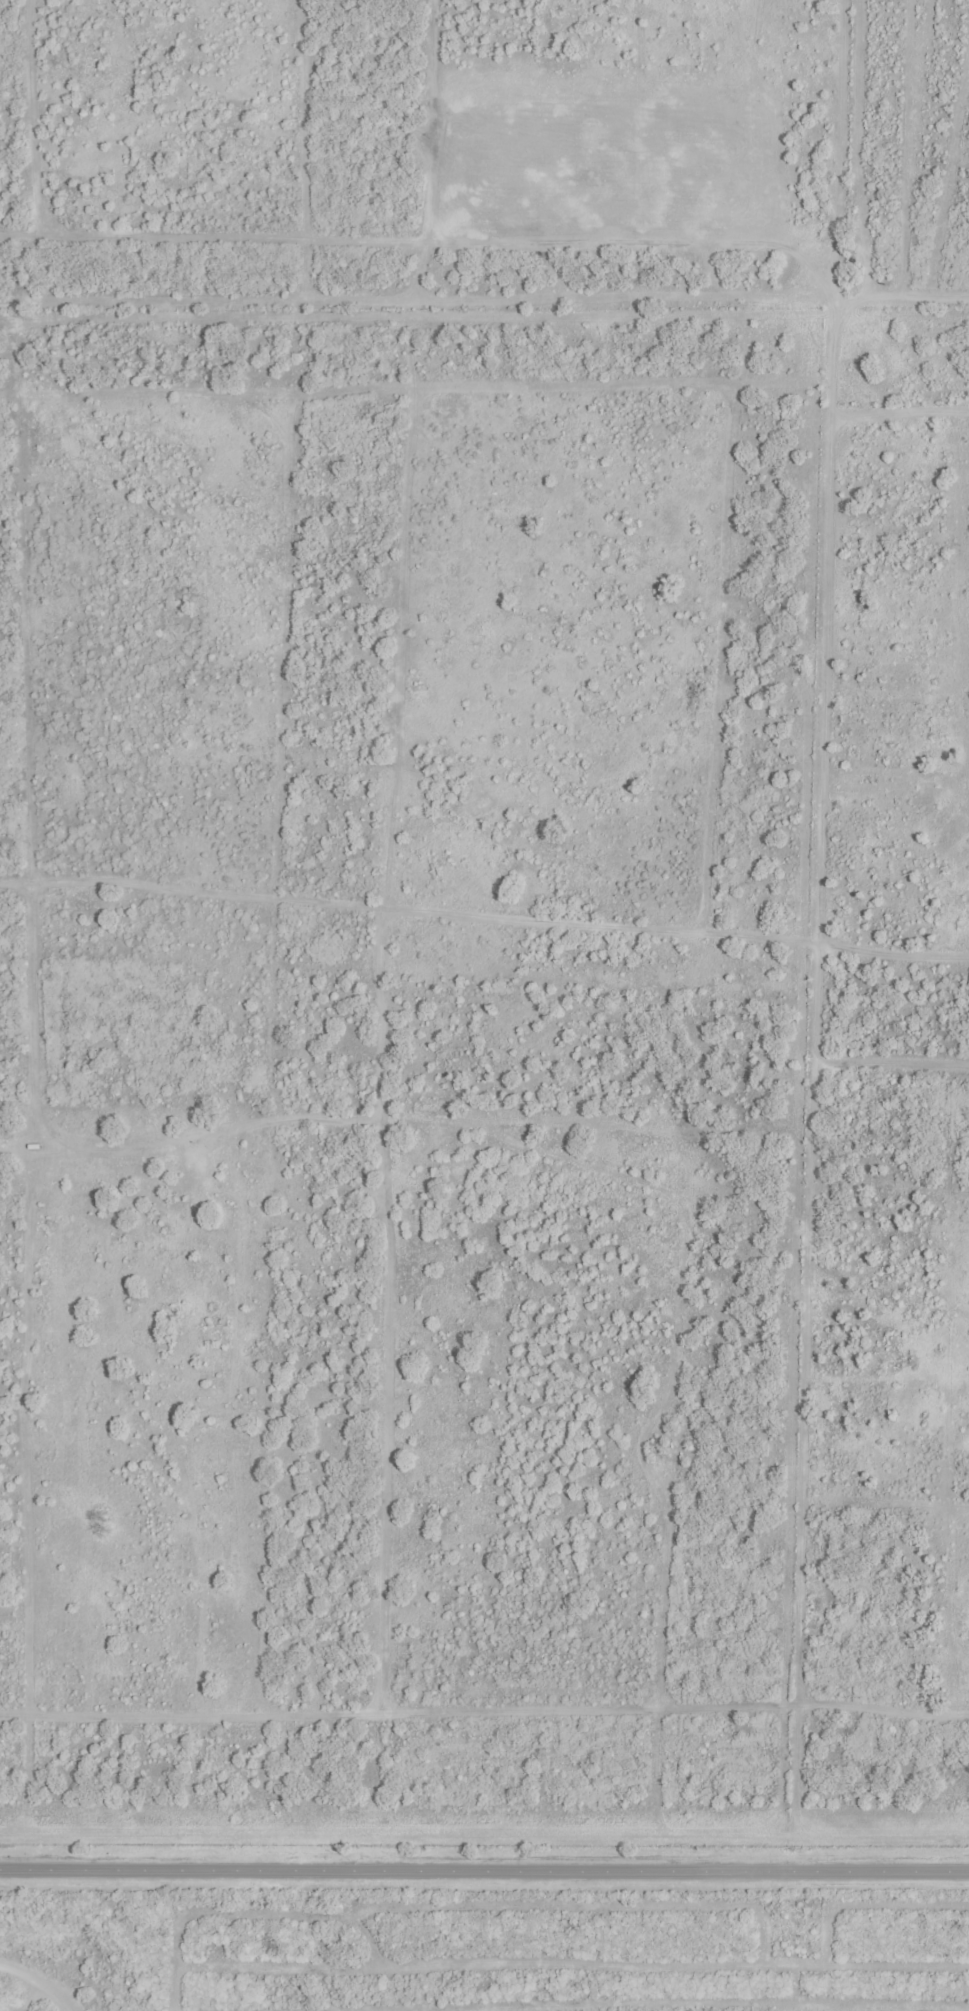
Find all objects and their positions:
road: (484, 1871)

